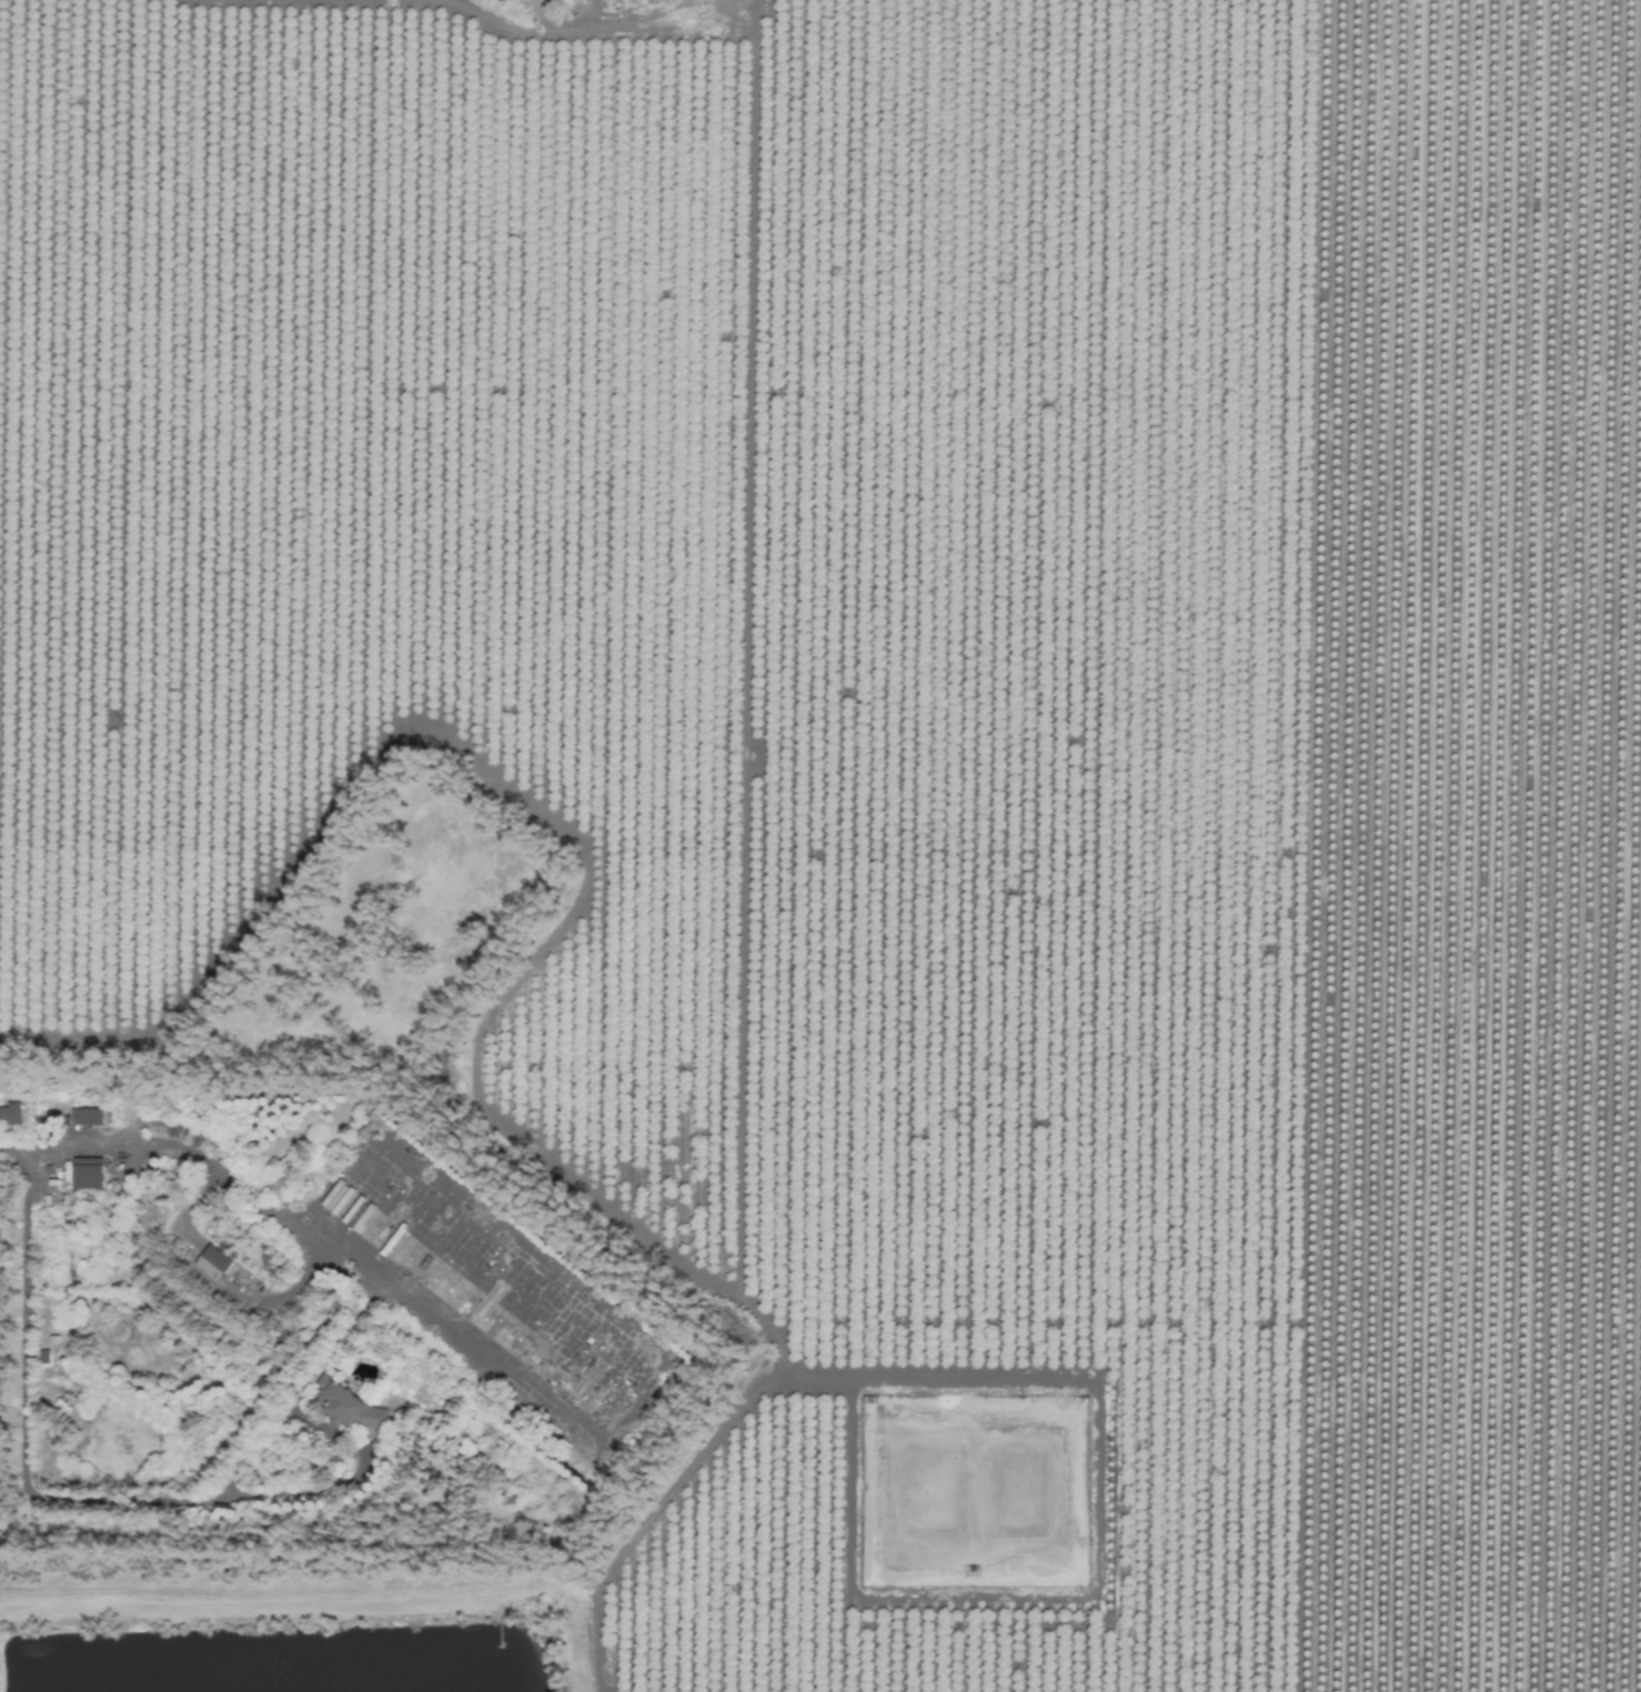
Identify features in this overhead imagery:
building: (9, 1114)
building: (85, 1116)
building: (85, 1172)
road: (286, 1218)
building: (211, 1261)
building: (345, 1406)

